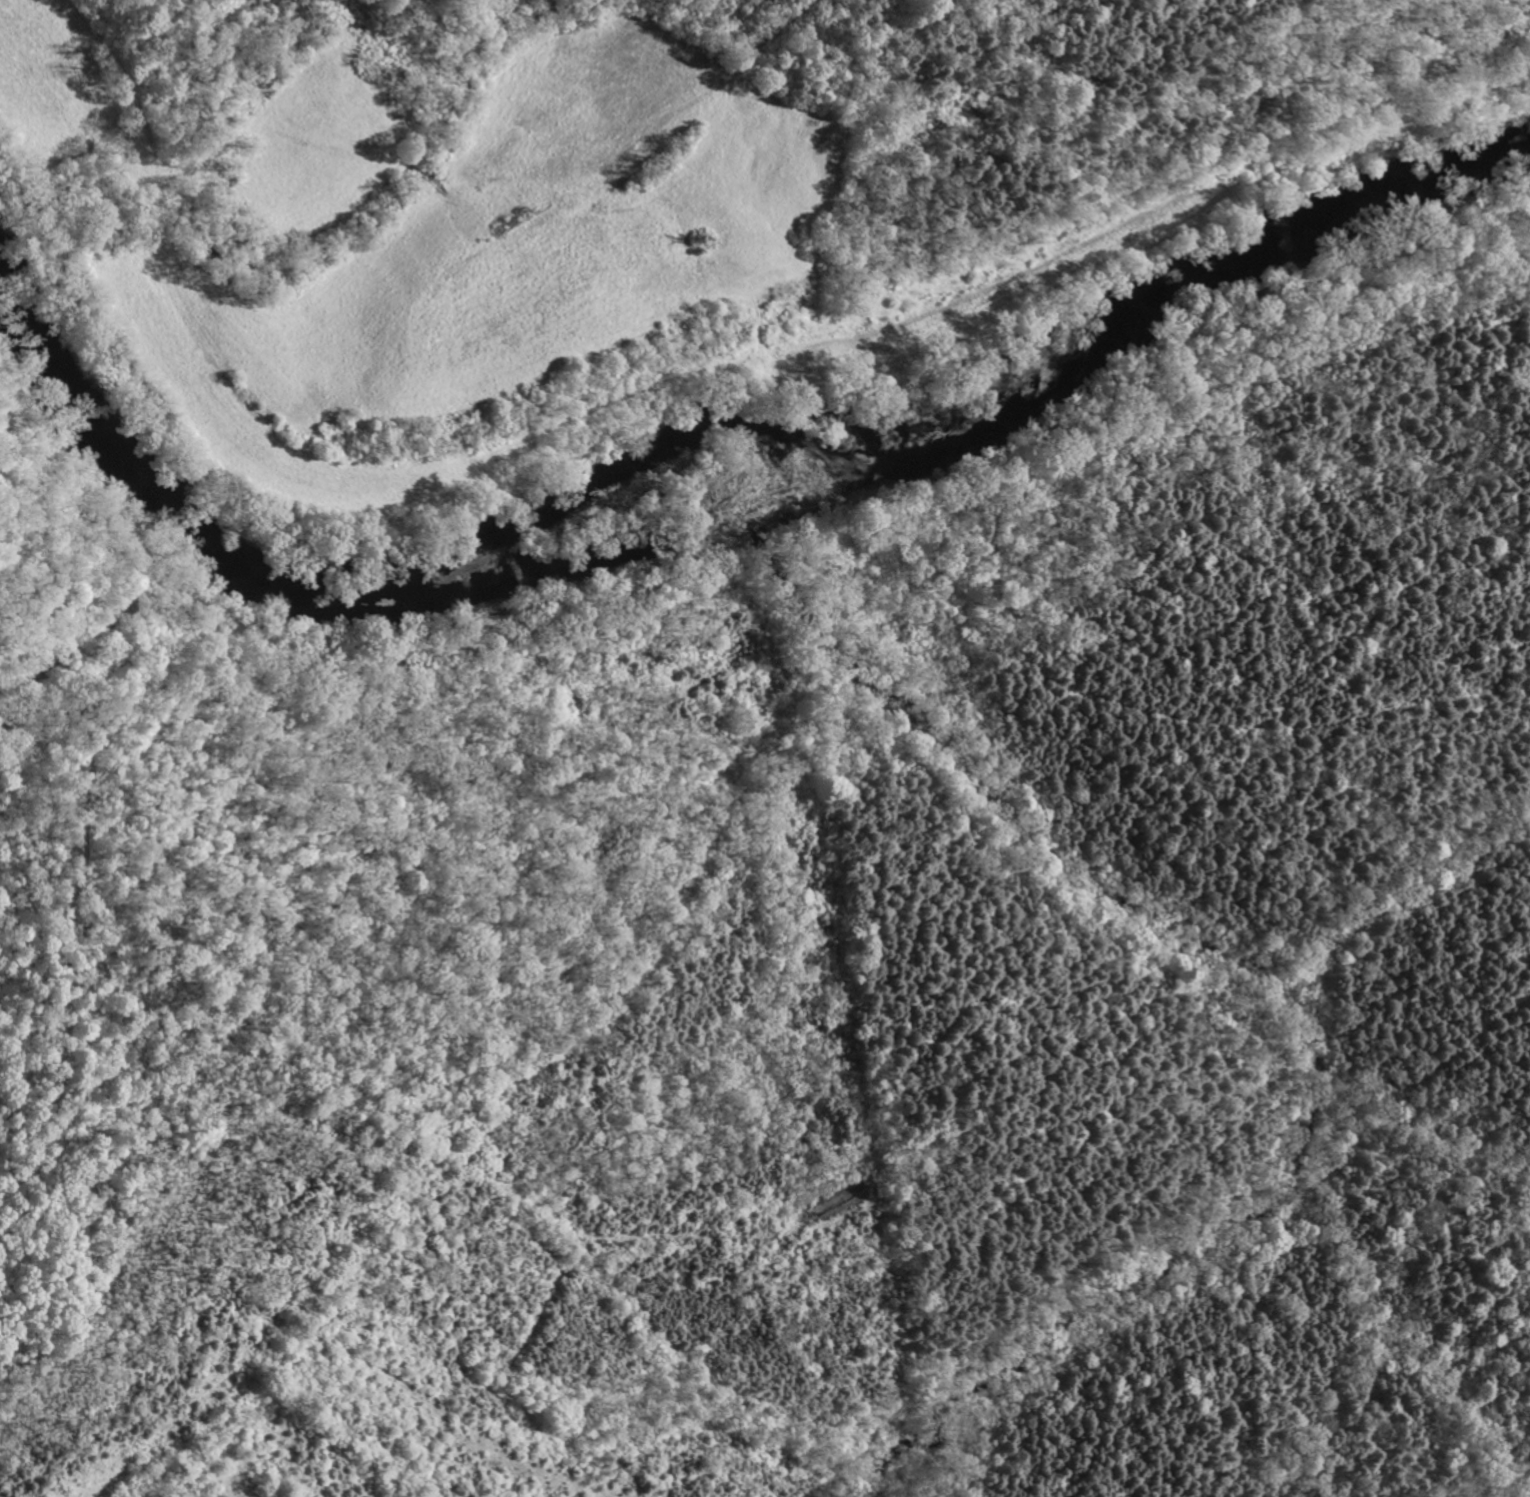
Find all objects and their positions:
road: (207, 157)
river: (735, 505)

